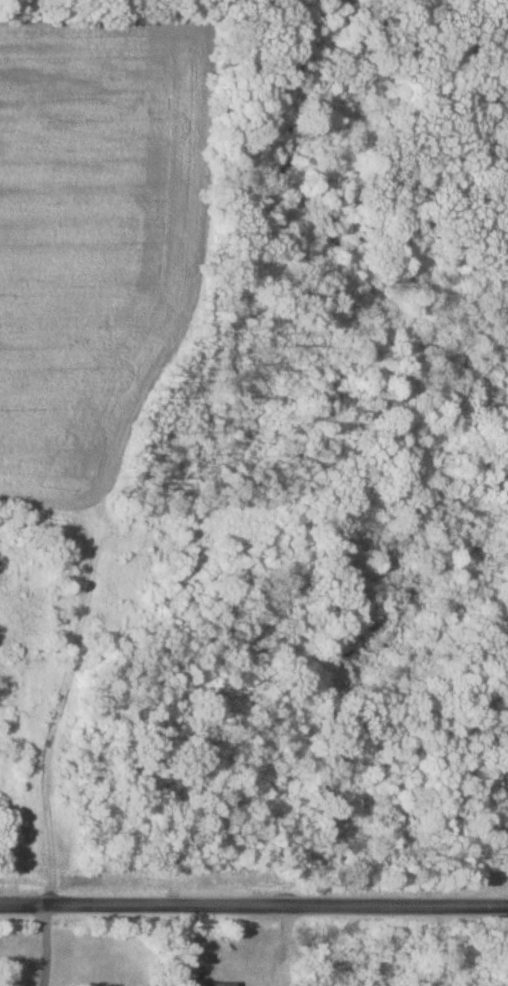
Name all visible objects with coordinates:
road: (254, 906)
road: (281, 945)
road: (48, 946)
building: (219, 985)
road: (275, 985)
road: (275, 985)

